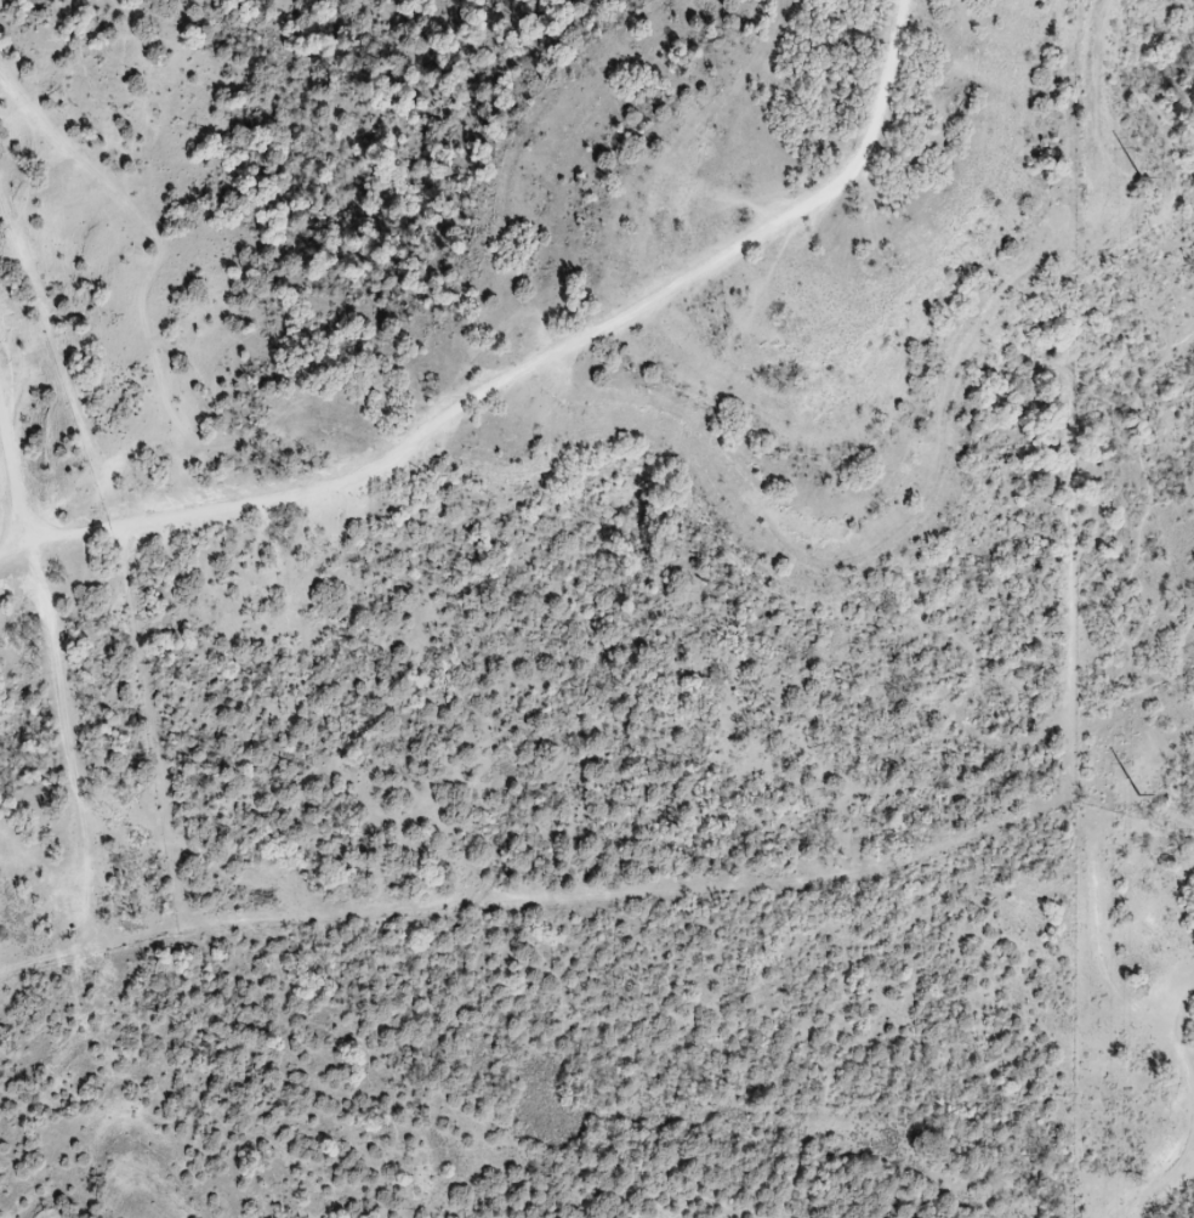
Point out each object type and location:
power tower: (1131, 177)
road: (1127, 230)
road: (1135, 544)
road: (1171, 789)
power tower: (1133, 794)
road: (1189, 1092)

